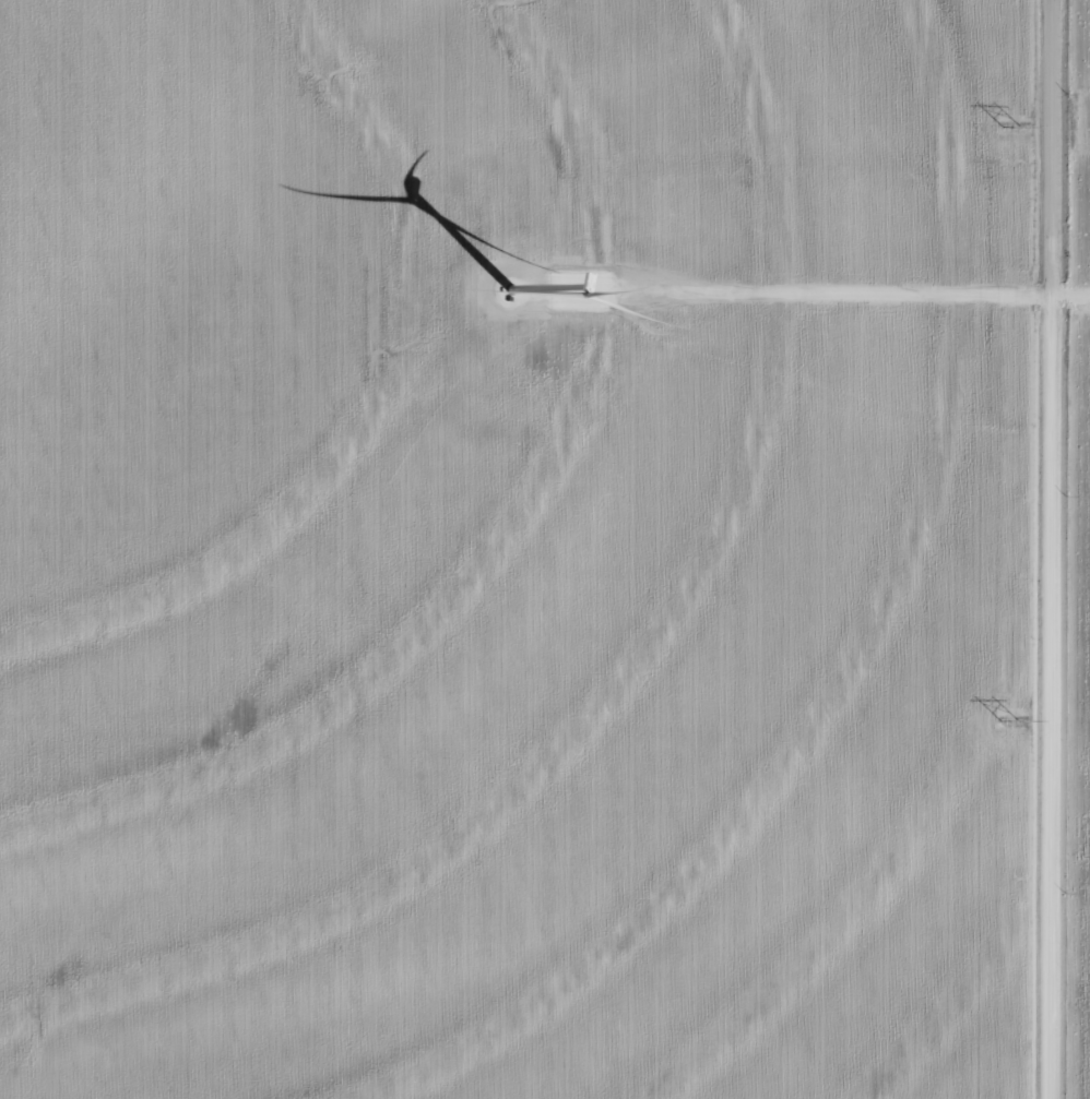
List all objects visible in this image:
power tower: (1014, 126)
wind turbine: (505, 290)
road: (1022, 549)
power tower: (1014, 719)

